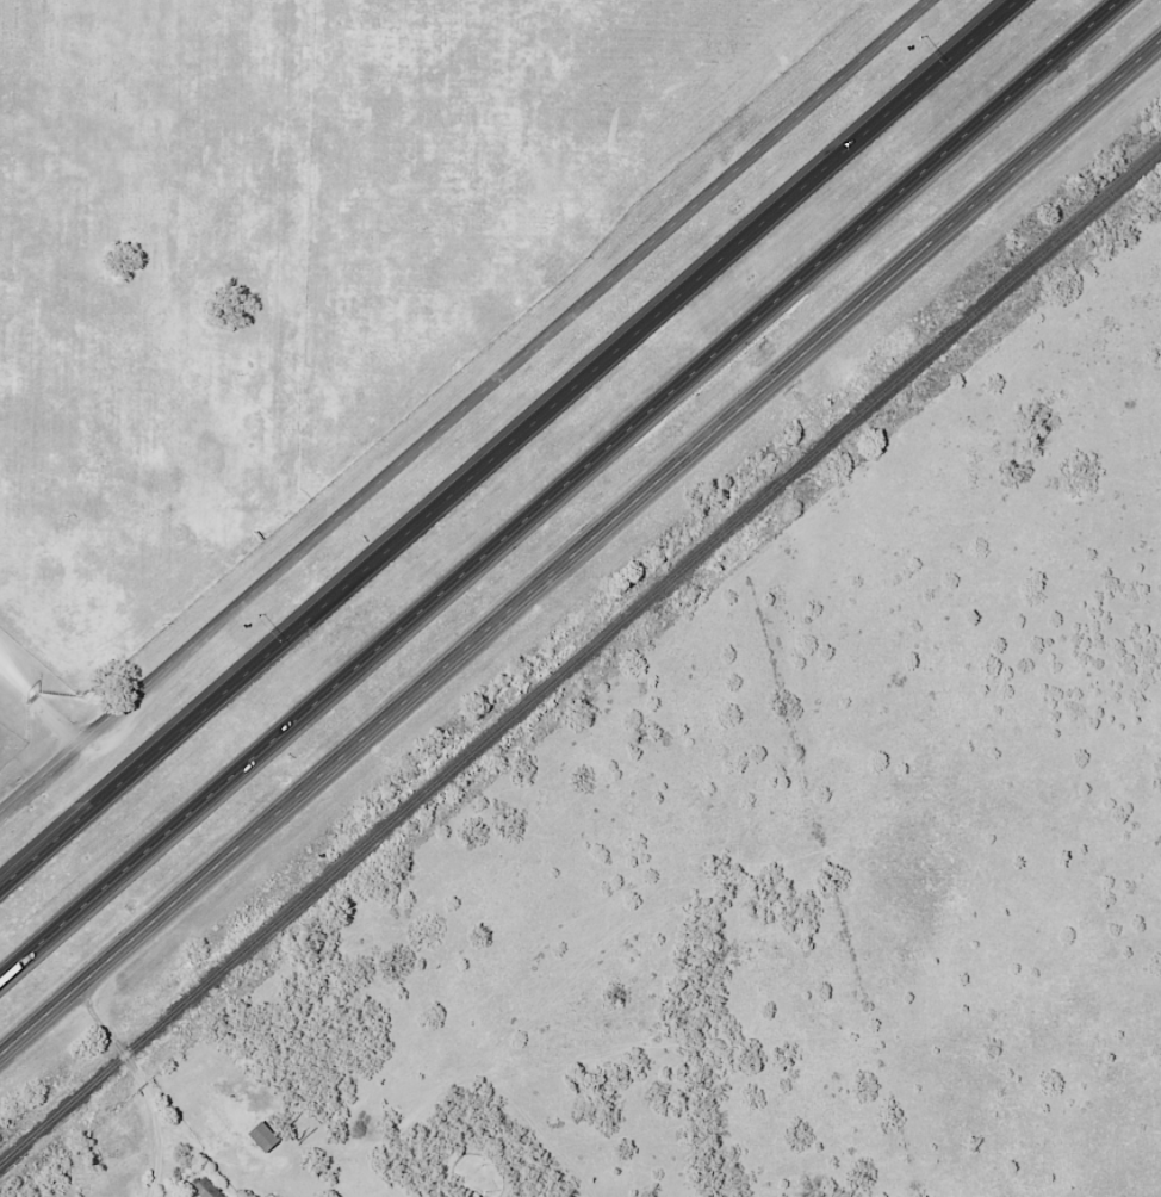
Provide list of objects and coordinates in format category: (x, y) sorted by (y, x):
road: (464, 404)
road: (501, 439)
road: (561, 489)
road: (579, 546)
railway: (579, 655)
road: (37, 701)
road: (136, 1083)
building: (263, 1137)
building: (206, 1187)

